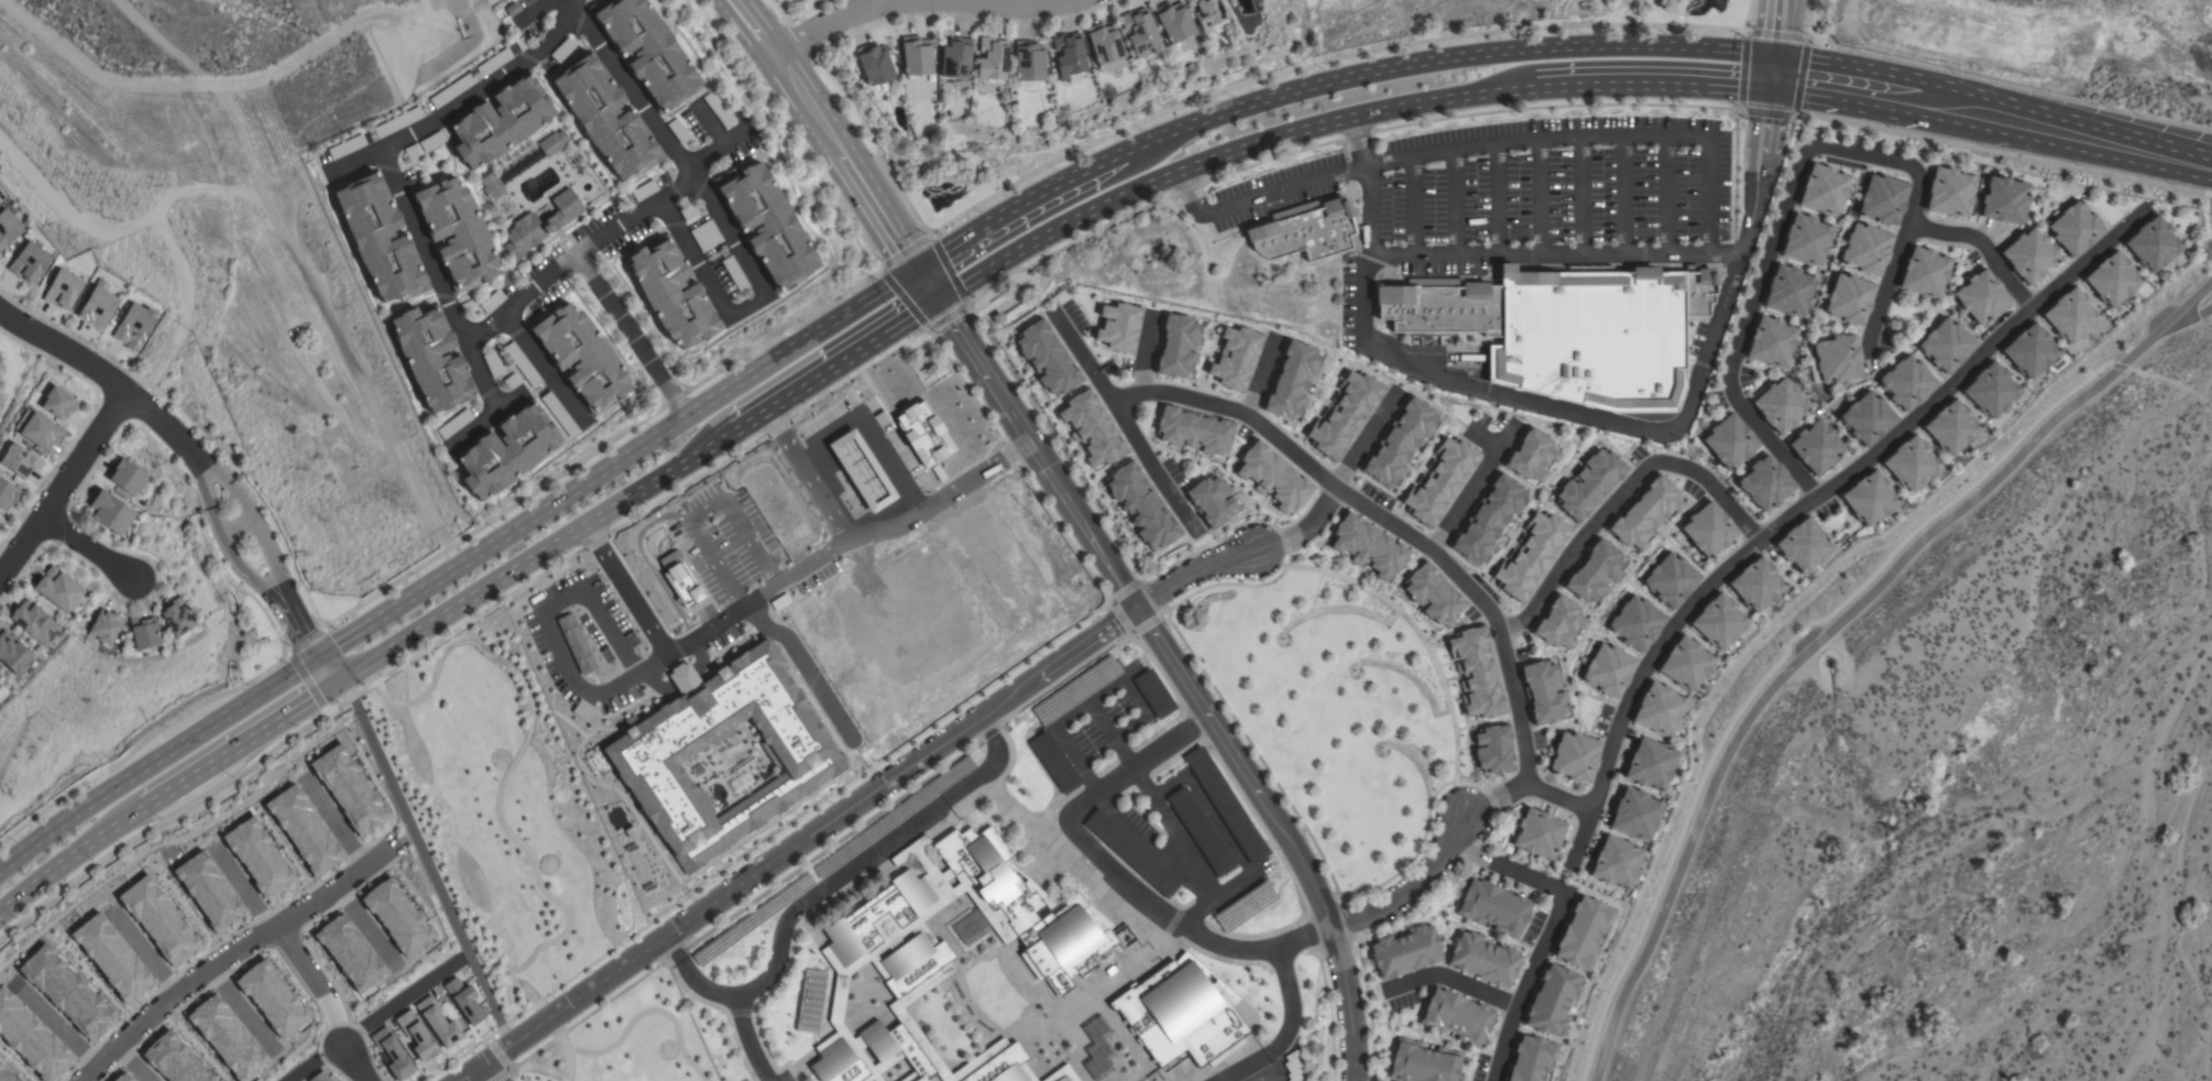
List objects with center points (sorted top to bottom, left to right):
road: (916, 0)
road: (881, 2)
road: (1748, 15)
building: (1209, 18)
road: (1806, 20)
building: (1173, 21)
road: (1774, 28)
building: (1142, 35)
road: (1800, 39)
building: (1104, 43)
building: (562, 51)
building: (646, 51)
building: (916, 56)
road: (1465, 56)
building: (1069, 57)
building: (955, 58)
building: (992, 61)
building: (493, 62)
building: (874, 64)
road: (1319, 64)
building: (1028, 65)
road: (1785, 66)
road: (1770, 72)
road: (1651, 80)
road: (1783, 83)
building: (452, 89)
road: (466, 97)
building: (718, 109)
road: (1351, 116)
road: (2006, 118)
building: (605, 119)
building: (398, 122)
building: (500, 122)
building: (678, 131)
road: (826, 131)
road: (1590, 139)
building: (431, 141)
road: (1334, 142)
building: (551, 143)
road: (1143, 143)
building: (347, 148)
road: (874, 148)
road: (1343, 151)
road: (2002, 153)
road: (1344, 173)
road: (1733, 175)
building: (491, 186)
parking lot: (1511, 188)
building: (1824, 189)
building: (644, 190)
building: (1949, 192)
road: (1257, 196)
road: (1665, 196)
road: (1622, 197)
road: (1538, 198)
road: (1579, 198)
building: (1883, 199)
road: (1496, 200)
building: (2004, 200)
road: (1454, 203)
road: (1015, 206)
road: (1410, 207)
road: (156, 220)
road: (721, 221)
building: (540, 225)
building: (766, 225)
building: (8, 228)
road: (1053, 229)
building: (2074, 229)
building: (1305, 232)
building: (457, 233)
road: (607, 233)
building: (705, 236)
building: (380, 239)
building: (1806, 240)
road: (923, 241)
building: (2151, 244)
road: (1984, 248)
building: (1866, 249)
road: (1730, 255)
building: (2028, 255)
road: (1565, 256)
road: (1770, 256)
building: (28, 263)
road: (1201, 264)
road: (1606, 266)
traffic signals: (917, 267)
building: (1924, 273)
building: (734, 274)
road: (440, 279)
building: (2112, 279)
road: (927, 283)
road: (1888, 284)
building: (1697, 288)
building: (62, 291)
building: (1789, 291)
building: (671, 293)
building: (1981, 296)
traffic signals: (938, 298)
building: (1849, 298)
building: (492, 302)
building: (97, 306)
building: (1441, 306)
building: (2070, 316)
building: (132, 327)
building: (1117, 328)
road: (631, 334)
building: (1592, 337)
road: (799, 340)
building: (1771, 342)
building: (1946, 345)
building: (1176, 347)
building: (2029, 351)
road: (1141, 352)
building: (582, 358)
building: (1235, 358)
building: (431, 359)
road: (740, 359)
building: (1045, 359)
building: (1838, 359)
building: (492, 364)
building: (522, 364)
road: (538, 364)
road: (1257, 376)
road: (109, 379)
road: (809, 381)
building: (1291, 381)
building: (1907, 382)
road: (17, 383)
road: (2166, 386)
building: (1991, 390)
road: (1001, 398)
building: (57, 403)
building: (1781, 405)
road: (1235, 411)
road: (1559, 412)
building: (559, 415)
building: (1343, 416)
building: (1868, 418)
road: (488, 421)
building: (455, 424)
building: (1950, 427)
building: (36, 429)
building: (1089, 429)
building: (1192, 432)
road: (1134, 436)
road: (864, 439)
building: (1400, 441)
road: (1483, 441)
building: (1730, 441)
road: (1364, 444)
building: (1817, 446)
building: (506, 451)
building: (1531, 456)
building: (18, 460)
building: (1910, 462)
road: (804, 476)
building: (127, 477)
building: (1271, 477)
building: (1439, 482)
road: (64, 483)
building: (1765, 483)
building: (1588, 484)
road: (1832, 488)
road: (230, 489)
road: (1471, 489)
road: (1620, 492)
building: (7, 494)
building: (1868, 499)
road: (205, 501)
building: (1209, 501)
building: (1140, 506)
road: (703, 510)
building: (111, 513)
building: (1644, 514)
building: (1488, 520)
road: (234, 526)
road: (1302, 529)
building: (1708, 529)
road: (500, 535)
building: (1803, 545)
building: (1368, 546)
road: (265, 550)
road: (89, 552)
road: (1099, 555)
building: (1529, 558)
road: (648, 564)
road: (239, 566)
road: (508, 572)
road: (1191, 572)
building: (1594, 572)
building: (1669, 580)
road: (779, 582)
building: (681, 585)
building: (1755, 585)
building: (58, 590)
building: (1432, 594)
road: (1117, 616)
building: (178, 618)
road: (293, 621)
building: (35, 622)
building: (1717, 622)
building: (1559, 623)
building: (1635, 623)
building: (105, 626)
road: (457, 627)
road: (1831, 629)
building: (144, 633)
road: (1499, 634)
building: (13, 654)
road: (294, 664)
building: (1684, 664)
road: (327, 667)
building: (1608, 670)
building: (1476, 671)
road: (1107, 688)
building: (1543, 691)
road: (347, 696)
building: (1657, 710)
road: (1102, 719)
road: (140, 743)
road: (240, 743)
road: (1170, 745)
building: (1491, 750)
building: (1575, 756)
road: (156, 758)
road: (512, 762)
building: (1649, 764)
building: (347, 790)
building: (1634, 815)
road: (337, 822)
building: (303, 830)
road: (1281, 830)
building: (1538, 833)
road: (1137, 837)
road: (766, 841)
road: (795, 841)
road: (1583, 841)
road: (450, 848)
road: (818, 853)
road: (69, 856)
road: (1433, 861)
building: (1614, 862)
road: (425, 863)
park: (532, 866)
road: (1235, 881)
road: (828, 885)
road: (243, 892)
road: (1148, 904)
building: (1244, 907)
building: (1493, 907)
road: (1196, 911)
building: (396, 917)
road: (1551, 930)
building: (1583, 932)
road: (144, 951)
building: (1404, 951)
building: (349, 953)
road: (232, 954)
building: (949, 954)
building: (1483, 960)
road: (1453, 980)
road: (530, 994)
building: (1552, 1000)
building: (462, 1001)
building: (811, 1001)
road: (327, 1004)
road: (238, 1008)
building: (1182, 1013)
building: (1456, 1016)
road: (634, 1018)
road: (375, 1022)
building: (437, 1023)
road: (61, 1027)
road: (502, 1029)
road: (1284, 1030)
building: (415, 1036)
road: (745, 1040)
road: (562, 1047)
building: (1098, 1049)
building: (392, 1055)
building: (1530, 1059)
road: (503, 1062)
building: (1422, 1062)
road: (132, 1064)
building: (1291, 1067)
road: (536, 1068)
road: (489, 1072)
building: (1062, 1074)
building: (318, 1077)

